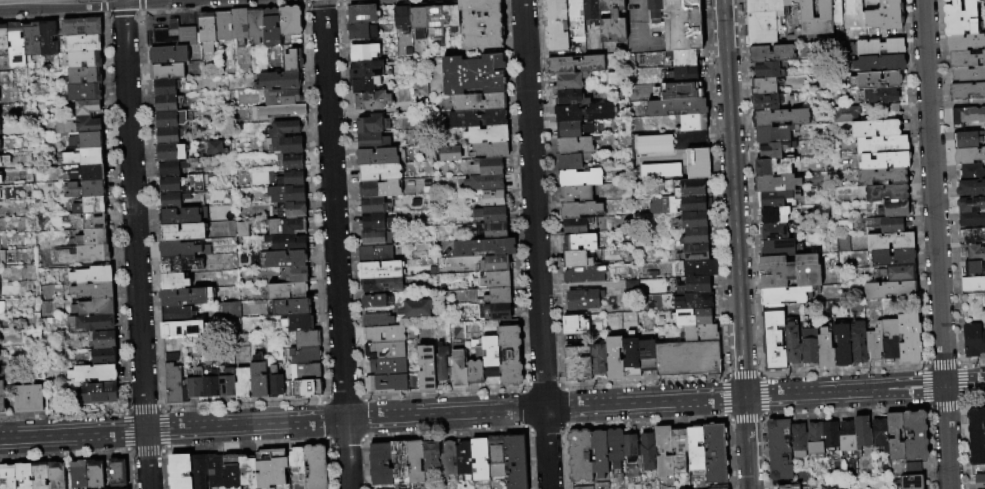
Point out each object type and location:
railway: (6, 0)
building: (946, 0)
road: (340, 1)
road: (359, 1)
railway: (93, 2)
road: (303, 2)
road: (322, 2)
building: (789, 2)
road: (121, 3)
road: (176, 3)
building: (982, 3)
road: (141, 6)
road: (103, 8)
road: (223, 8)
road: (60, 9)
building: (653, 9)
building: (589, 12)
building: (835, 12)
road: (122, 13)
building: (853, 14)
building: (363, 15)
building: (400, 16)
building: (449, 16)
building: (884, 16)
road: (51, 17)
building: (814, 17)
building: (960, 17)
building: (433, 18)
building: (290, 20)
building: (416, 20)
building: (610, 22)
building: (761, 22)
building: (480, 23)
building: (239, 24)
building: (255, 24)
road: (636, 24)
building: (223, 25)
building: (680, 25)
road: (723, 25)
building: (554, 26)
building: (76, 27)
building: (271, 27)
building: (573, 27)
building: (206, 31)
building: (362, 31)
building: (171, 35)
building: (42, 38)
building: (1, 39)
building: (26, 40)
building: (965, 41)
building: (78, 44)
building: (11, 45)
building: (879, 47)
building: (363, 52)
building: (168, 54)
building: (771, 54)
building: (967, 58)
building: (683, 59)
building: (79, 60)
building: (291, 61)
building: (879, 64)
building: (573, 65)
building: (369, 69)
building: (767, 70)
building: (166, 71)
building: (967, 74)
building: (469, 75)
building: (683, 75)
building: (79, 76)
building: (278, 80)
building: (878, 80)
building: (565, 82)
building: (364, 84)
building: (164, 86)
building: (763, 87)
building: (966, 90)
building: (79, 92)
building: (679, 92)
building: (280, 96)
building: (881, 96)
building: (568, 98)
building: (371, 100)
building: (475, 102)
building: (165, 103)
building: (764, 103)
building: (82, 108)
building: (673, 108)
building: (281, 110)
building: (581, 113)
building: (845, 113)
building: (968, 115)
building: (169, 118)
building: (780, 118)
building: (473, 119)
building: (691, 123)
building: (372, 124)
building: (83, 125)
building: (60, 127)
building: (283, 128)
building: (874, 128)
building: (565, 130)
building: (774, 134)
building: (482, 135)
building: (167, 136)
building: (966, 139)
building: (86, 140)
building: (372, 141)
building: (653, 143)
building: (285, 144)
building: (881, 144)
building: (573, 146)
building: (213, 148)
building: (485, 150)
building: (771, 150)
building: (170, 152)
building: (448, 152)
building: (968, 154)
power substation: (667, 156)
building: (80, 157)
building: (377, 157)
building: (3, 159)
building: (884, 160)
building: (291, 161)
building: (567, 163)
building: (696, 164)
building: (482, 166)
building: (646, 166)
building: (773, 167)
building: (168, 168)
building: (972, 171)
building: (87, 172)
building: (380, 173)
building: (881, 177)
building: (290, 178)
building: (0, 179)
building: (577, 179)
building: (481, 182)
building: (775, 183)
building: (168, 184)
road: (750, 187)
building: (970, 187)
building: (691, 188)
building: (72, 189)
building: (88, 189)
building: (379, 189)
road: (714, 189)
building: (885, 192)
building: (286, 193)
building: (595, 193)
building: (574, 195)
building: (489, 198)
building: (772, 199)
building: (170, 200)
building: (971, 203)
building: (89, 205)
building: (374, 205)
building: (677, 205)
building: (895, 208)
building: (291, 210)
building: (577, 210)
building: (180, 215)
building: (485, 215)
building: (774, 215)
building: (971, 218)
building: (692, 220)
building: (84, 221)
building: (376, 221)
building: (890, 225)
building: (286, 226)
building: (574, 226)
building: (489, 231)
building: (182, 232)
building: (774, 232)
building: (973, 235)
building: (376, 237)
building: (692, 237)
building: (87, 238)
building: (889, 241)
building: (286, 242)
building: (577, 243)
road: (335, 244)
road: (534, 244)
road: (936, 244)
road: (134, 247)
building: (480, 247)
building: (778, 247)
building: (182, 249)
building: (974, 252)
building: (694, 253)
building: (88, 254)
building: (375, 254)
building: (892, 257)
building: (285, 259)
building: (572, 259)
building: (492, 263)
building: (179, 264)
building: (974, 267)
building: (380, 269)
building: (696, 269)
road: (737, 269)
building: (789, 272)
building: (898, 273)
building: (295, 274)
building: (582, 275)
building: (87, 276)
building: (491, 279)
building: (174, 281)
building: (972, 283)
building: (382, 284)
building: (696, 285)
building: (287, 290)
building: (890, 290)
building: (87, 291)
building: (783, 295)
building: (186, 296)
building: (492, 297)
building: (581, 300)
building: (373, 301)
building: (691, 302)
building: (292, 307)
building: (88, 308)
building: (415, 309)
building: (228, 310)
building: (493, 312)
building: (175, 313)
building: (691, 318)
building: (376, 320)
building: (300, 322)
building: (88, 323)
building: (503, 323)
building: (573, 325)
building: (182, 329)
building: (984, 333)
building: (384, 334)
building: (699, 334)
building: (909, 337)
building: (307, 338)
building: (890, 339)
building: (99, 340)
building: (972, 340)
building: (773, 341)
building: (857, 342)
building: (874, 342)
building: (792, 344)
building: (841, 344)
building: (809, 346)
building: (824, 349)
building: (385, 350)
building: (304, 355)
building: (99, 356)
building: (486, 356)
building: (505, 356)
building: (645, 356)
building: (170, 357)
building: (612, 358)
building: (686, 359)
building: (596, 360)
building: (629, 361)
building: (436, 364)
building: (575, 364)
road: (925, 365)
building: (386, 366)
building: (421, 368)
building: (454, 369)
building: (308, 372)
building: (470, 372)
building: (88, 373)
road: (743, 375)
road: (761, 375)
road: (723, 377)
building: (257, 380)
building: (227, 382)
building: (275, 382)
building: (194, 383)
building: (386, 383)
building: (174, 384)
building: (211, 384)
building: (241, 384)
building: (305, 388)
road: (864, 390)
building: (1, 394)
building: (92, 394)
building: (24, 399)
road: (371, 417)
road: (741, 417)
building: (861, 431)
building: (878, 432)
building: (846, 433)
building: (829, 434)
building: (894, 435)
building: (914, 435)
road: (962, 435)
building: (975, 435)
building: (814, 438)
building: (797, 440)
building: (629, 446)
building: (614, 447)
building: (679, 448)
building: (695, 448)
building: (647, 449)
building: (778, 449)
building: (663, 451)
building: (598, 452)
building: (715, 453)
building: (579, 455)
building: (426, 457)
building: (491, 458)
building: (292, 459)
building: (459, 459)
building: (443, 460)
building: (474, 460)
building: (510, 462)
building: (394, 463)
building: (410, 463)
building: (375, 465)
building: (312, 467)
building: (913, 468)
building: (198, 471)
building: (215, 471)
building: (231, 471)
building: (179, 472)
building: (247, 472)
building: (113, 473)
building: (91, 474)
building: (53, 475)
building: (75, 475)
building: (20, 476)
building: (36, 476)
building: (6, 477)
building: (912, 481)
building: (979, 481)
building: (581, 485)
building: (788, 487)
building: (725, 488)

